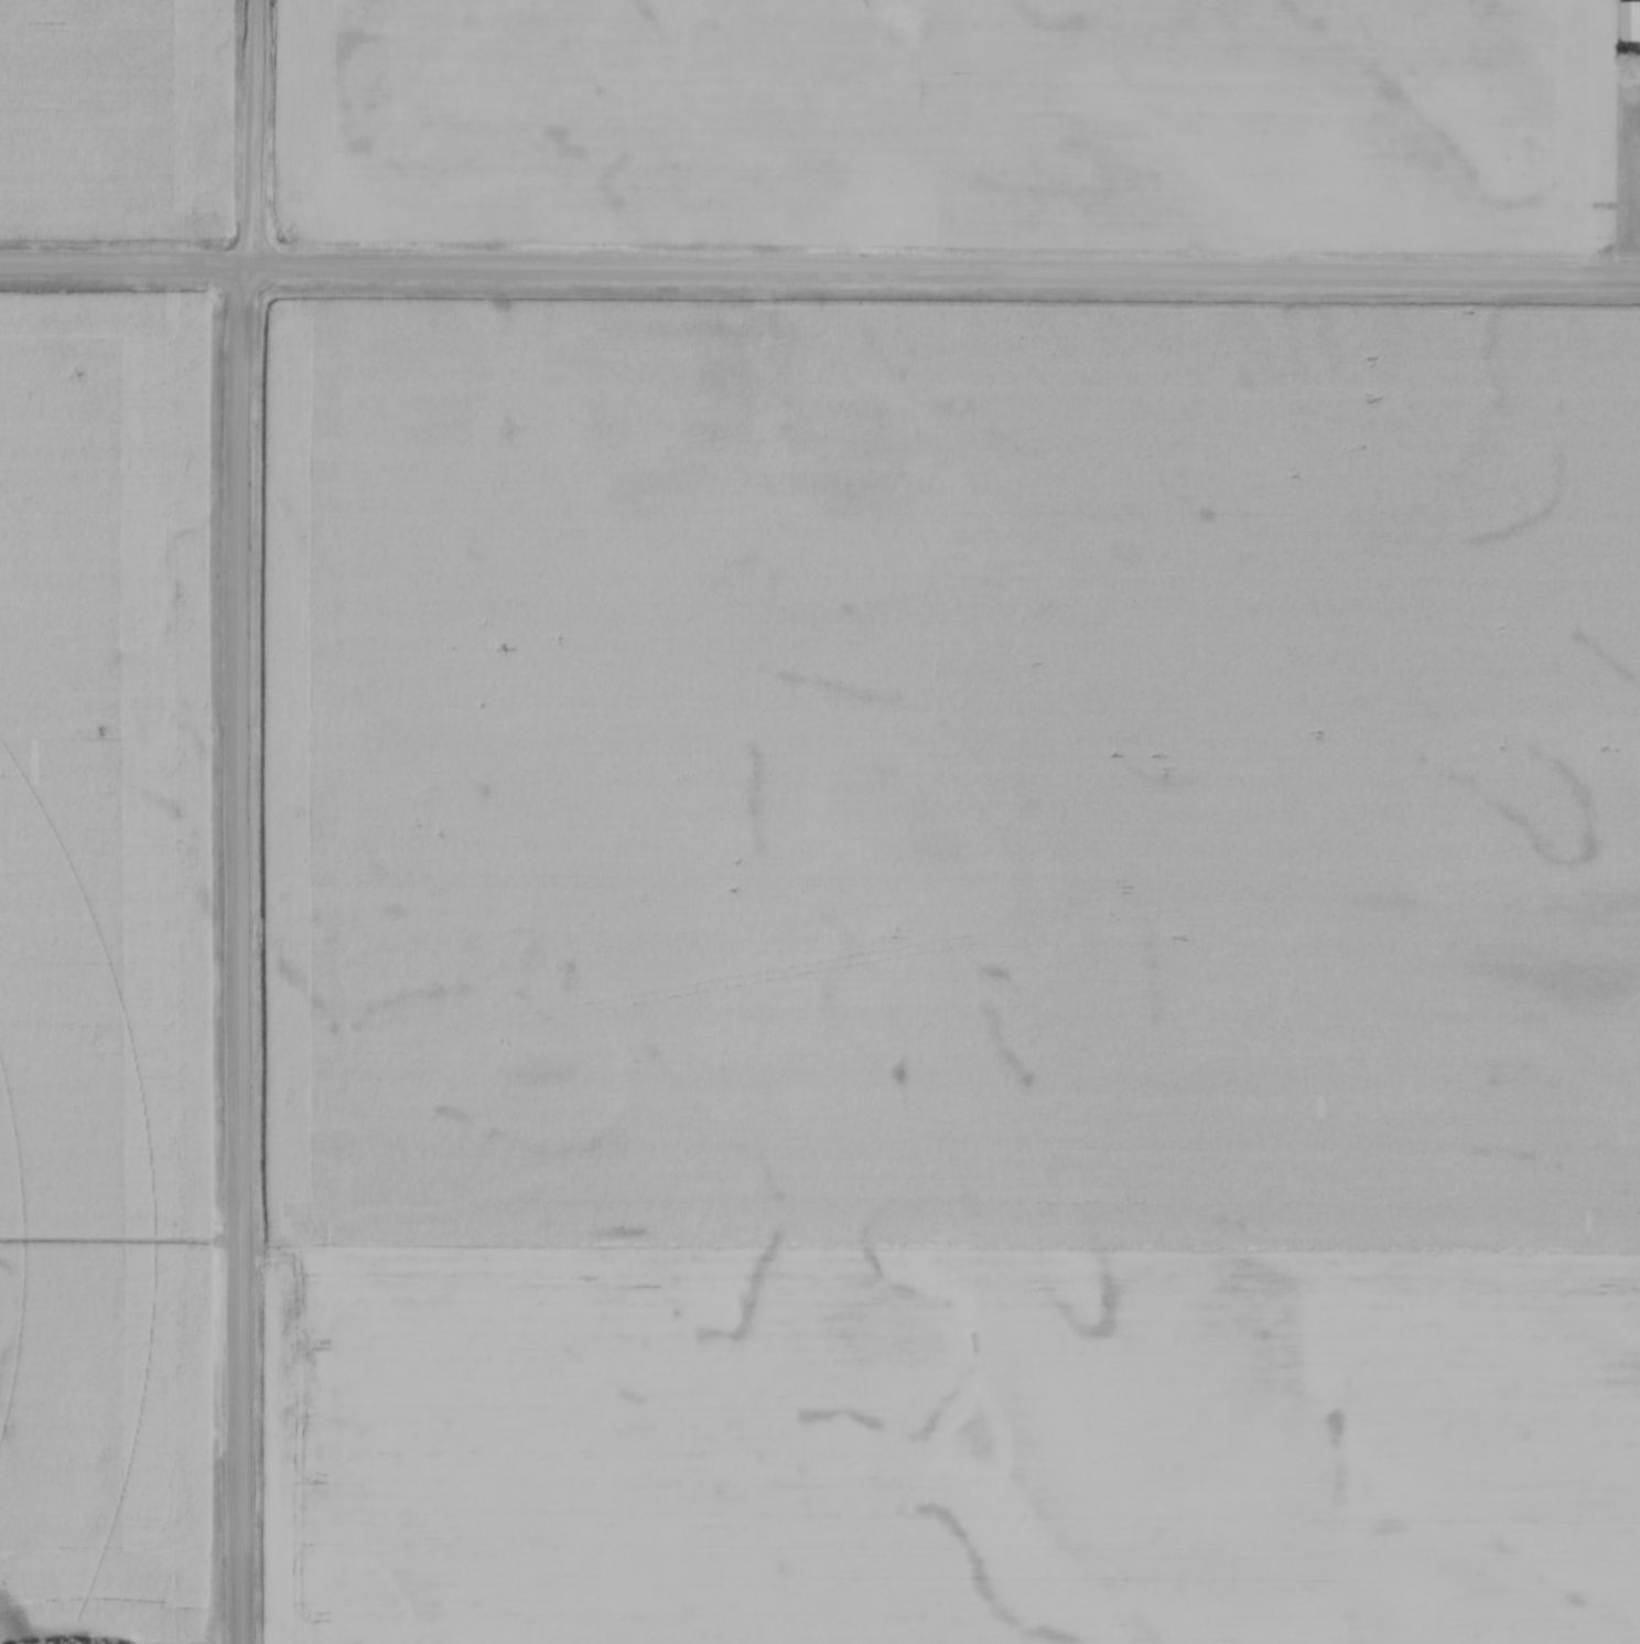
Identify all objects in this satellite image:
building: (1630, 21)
road: (820, 270)
road: (235, 820)

